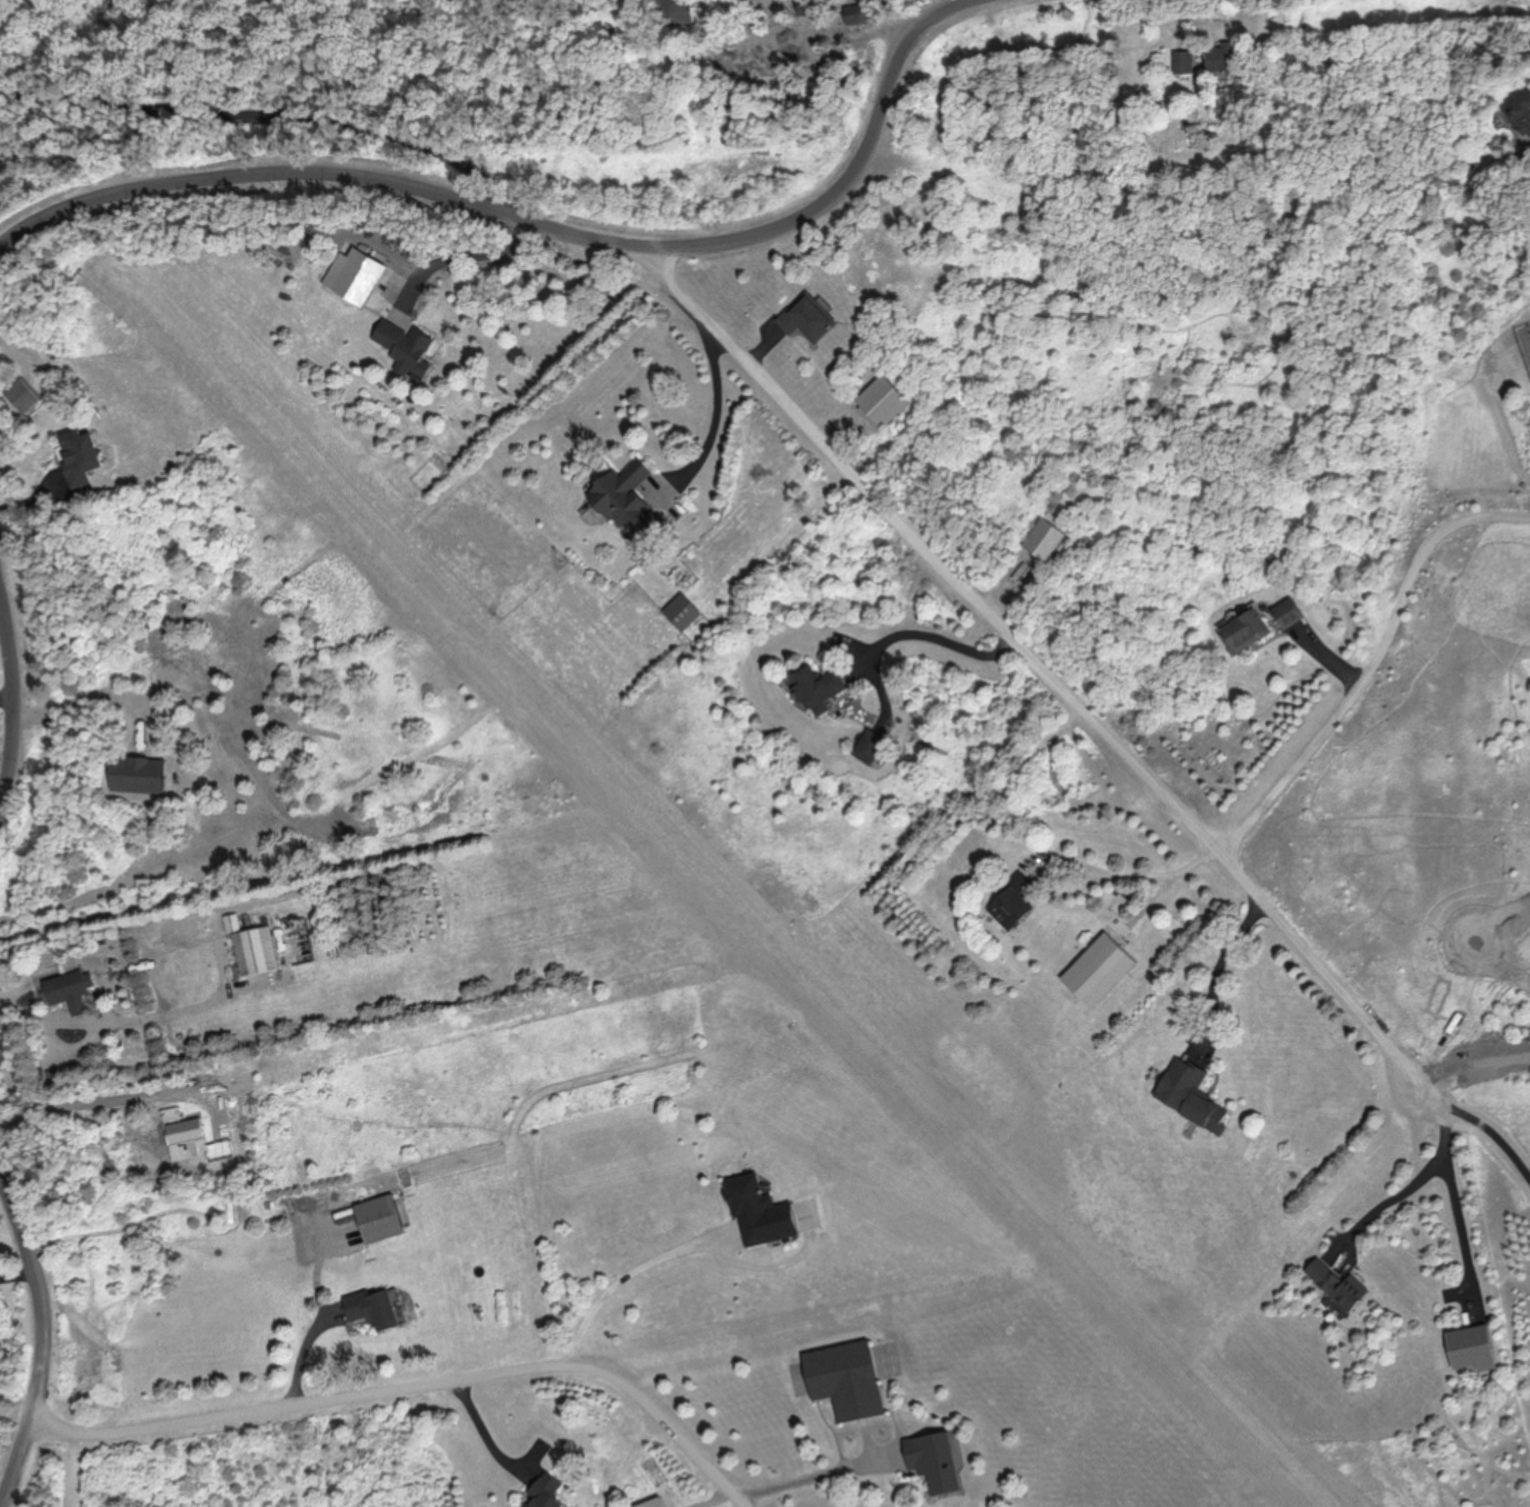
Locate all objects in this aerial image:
road: (281, 119)
road: (547, 229)
road: (470, 258)
road: (717, 417)
airport taxiway: (479, 626)
road: (937, 638)
road: (1038, 665)
road: (1373, 667)
road: (22, 713)
road: (1078, 852)
airport: (708, 871)
road: (1223, 970)
road: (142, 1021)
road: (1482, 1114)
road: (1425, 1177)
airport runway: (1057, 1238)
road: (627, 1276)
building: (377, 1307)
road: (50, 1332)
road: (422, 1387)
road: (484, 1432)
building: (935, 1460)
road: (815, 1476)
building: (549, 1493)

